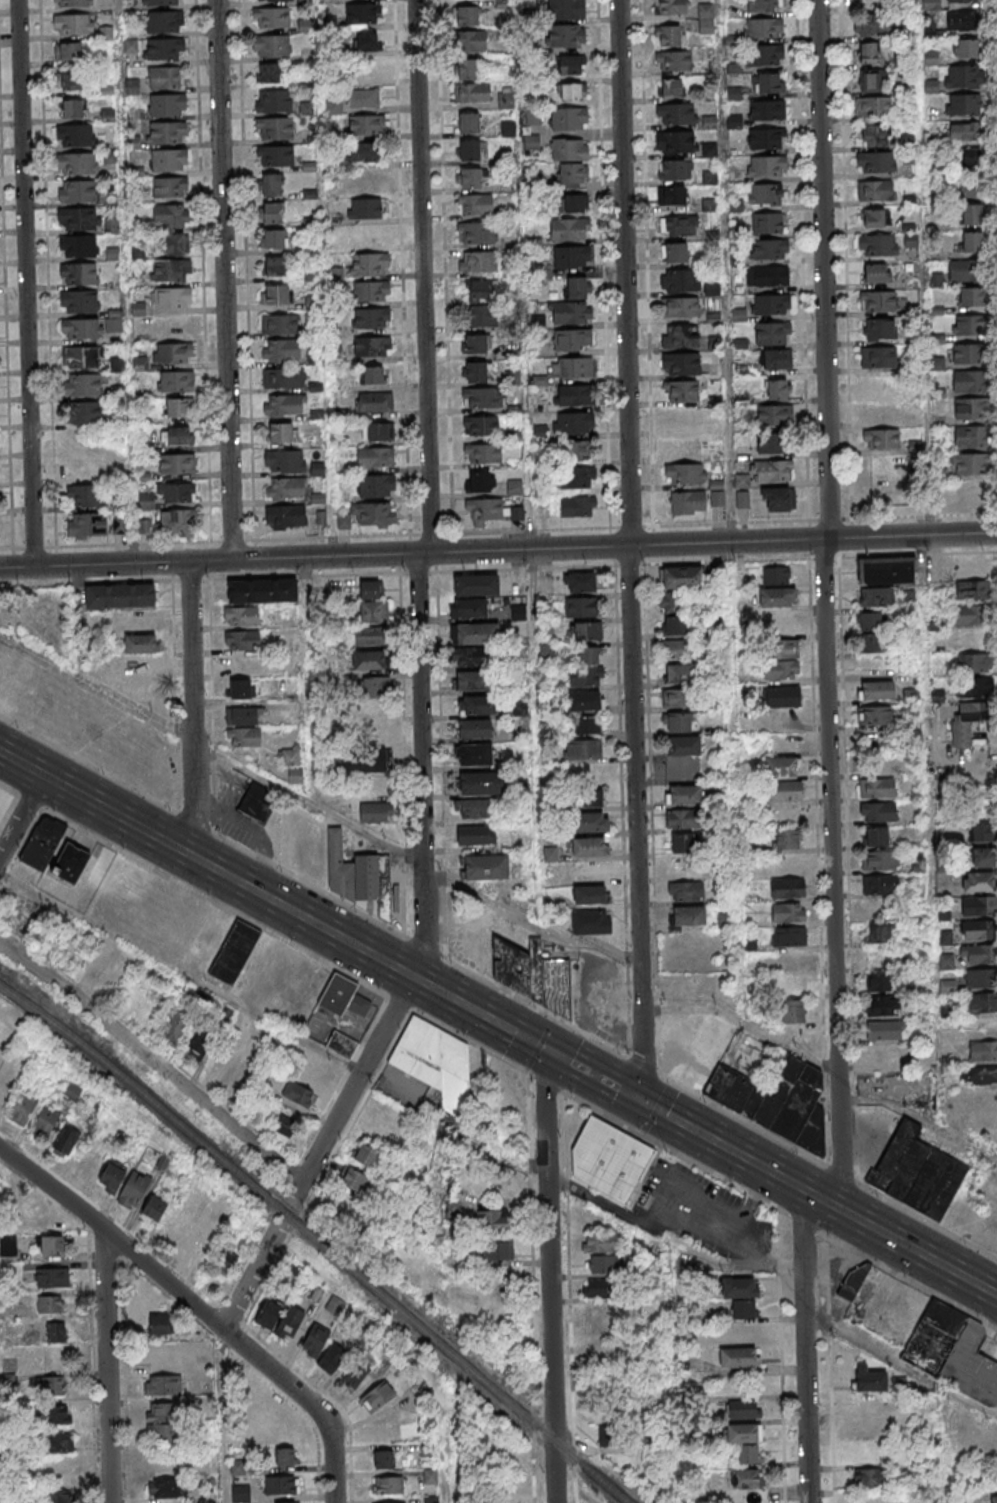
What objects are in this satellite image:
building: (272, 0)
building: (961, 1)
building: (73, 3)
building: (163, 3)
building: (872, 3)
building: (763, 5)
building: (671, 7)
building: (566, 9)
road: (996, 9)
building: (360, 15)
building: (467, 15)
building: (271, 17)
building: (706, 18)
building: (73, 23)
building: (957, 23)
building: (165, 24)
building: (873, 25)
building: (763, 28)
building: (566, 35)
building: (670, 35)
building: (472, 40)
building: (366, 41)
building: (272, 45)
building: (966, 48)
building: (68, 51)
building: (166, 51)
building: (867, 53)
building: (764, 56)
building: (673, 60)
building: (568, 65)
building: (468, 69)
building: (268, 72)
building: (965, 76)
building: (166, 78)
building: (71, 80)
building: (871, 81)
building: (766, 84)
building: (131, 87)
building: (670, 87)
building: (572, 90)
building: (472, 92)
building: (363, 99)
building: (505, 99)
building: (273, 100)
building: (962, 103)
building: (333, 106)
building: (168, 107)
building: (874, 107)
building: (72, 108)
building: (767, 110)
building: (677, 113)
building: (133, 116)
building: (568, 118)
building: (734, 121)
building: (469, 122)
building: (366, 126)
building: (274, 128)
building: (962, 132)
building: (168, 135)
building: (872, 135)
building: (75, 136)
building: (766, 138)
building: (675, 141)
building: (133, 143)
building: (569, 149)
building: (469, 150)
building: (365, 153)
building: (275, 155)
building: (969, 156)
building: (875, 161)
building: (170, 162)
building: (77, 164)
building: (766, 166)
building: (674, 169)
building: (572, 173)
building: (469, 178)
building: (369, 180)
building: (271, 184)
building: (974, 186)
building: (170, 190)
building: (874, 190)
building: (77, 192)
building: (767, 194)
building: (671, 195)
building: (573, 203)
building: (475, 204)
building: (736, 205)
building: (365, 208)
building: (272, 212)
building: (973, 215)
building: (170, 216)
building: (78, 218)
building: (874, 218)
building: (766, 223)
building: (679, 225)
building: (570, 229)
building: (477, 232)
building: (370, 236)
building: (274, 238)
building: (910, 241)
building: (972, 243)
building: (175, 244)
building: (877, 245)
building: (78, 246)
building: (336, 247)
building: (309, 249)
building: (768, 249)
building: (675, 252)
building: (571, 258)
road: (846, 260)
building: (478, 261)
road: (647, 263)
building: (369, 265)
building: (275, 266)
road: (445, 267)
road: (725, 271)
building: (964, 271)
building: (78, 273)
building: (172, 273)
building: (877, 273)
building: (311, 274)
road: (425, 276)
building: (767, 277)
road: (327, 278)
road: (226, 280)
building: (681, 280)
road: (127, 282)
road: (28, 283)
road: (605, 286)
building: (576, 288)
road: (404, 289)
building: (478, 290)
building: (371, 292)
building: (277, 294)
building: (971, 297)
building: (311, 300)
building: (80, 301)
building: (172, 301)
building: (878, 301)
building: (771, 305)
building: (681, 307)
building: (571, 313)
building: (482, 316)
building: (371, 318)
building: (114, 320)
building: (279, 323)
building: (969, 325)
building: (82, 328)
building: (879, 329)
building: (773, 334)
road: (7, 337)
building: (681, 338)
building: (572, 340)
building: (475, 344)
building: (372, 347)
building: (281, 349)
road: (51, 351)
building: (173, 353)
building: (968, 353)
road: (805, 354)
building: (81, 356)
building: (879, 357)
building: (776, 358)
building: (117, 364)
building: (140, 364)
building: (681, 365)
building: (575, 367)
building: (476, 373)
building: (372, 374)
building: (284, 377)
building: (970, 381)
building: (177, 382)
building: (84, 384)
building: (880, 384)
building: (777, 389)
building: (681, 391)
building: (576, 395)
building: (483, 397)
building: (375, 402)
building: (285, 404)
building: (179, 407)
building: (971, 408)
building: (85, 412)
building: (774, 415)
building: (681, 419)
building: (575, 423)
building: (480, 425)
building: (377, 431)
building: (282, 432)
building: (177, 435)
building: (971, 437)
building: (880, 438)
building: (771, 444)
building: (683, 447)
building: (577, 450)
building: (483, 452)
building: (375, 458)
building: (285, 461)
building: (177, 463)
building: (969, 465)
building: (882, 467)
building: (772, 471)
building: (685, 475)
building: (575, 477)
building: (480, 481)
building: (742, 481)
building: (376, 487)
building: (514, 487)
building: (286, 488)
building: (177, 493)
building: (86, 495)
building: (716, 499)
building: (742, 500)
building: (778, 500)
building: (146, 501)
building: (687, 503)
building: (578, 506)
building: (484, 509)
building: (517, 512)
building: (286, 516)
building: (368, 516)
building: (177, 522)
building: (120, 523)
building: (87, 524)
road: (732, 524)
road: (532, 532)
road: (233, 542)
road: (7, 549)
road: (498, 550)
road: (628, 551)
building: (885, 569)
building: (775, 575)
building: (682, 578)
building: (581, 582)
building: (477, 585)
building: (262, 591)
building: (972, 591)
building: (120, 595)
building: (776, 597)
building: (876, 597)
building: (372, 602)
building: (672, 602)
building: (581, 607)
building: (468, 608)
building: (242, 615)
building: (969, 615)
building: (135, 621)
building: (870, 621)
building: (674, 625)
building: (585, 631)
building: (475, 633)
building: (370, 635)
building: (242, 640)
building: (140, 643)
building: (872, 643)
building: (678, 649)
building: (782, 649)
building: (589, 655)
building: (473, 656)
building: (369, 660)
building: (974, 663)
building: (100, 666)
building: (135, 669)
building: (780, 669)
building: (683, 673)
building: (586, 677)
building: (471, 680)
building: (374, 687)
building: (973, 688)
building: (239, 689)
building: (875, 690)
building: (910, 696)
building: (782, 697)
building: (679, 698)
building: (586, 701)
building: (476, 704)
road: (192, 710)
building: (293, 712)
building: (243, 715)
building: (874, 715)
building: (677, 721)
building: (967, 722)
building: (587, 726)
building: (474, 728)
building: (375, 731)
building: (244, 737)
road: (538, 739)
building: (683, 745)
building: (583, 749)
road: (210, 751)
building: (473, 753)
building: (289, 756)
road: (830, 758)
building: (365, 760)
building: (782, 766)
building: (479, 782)
road: (8, 787)
building: (875, 787)
building: (785, 791)
building: (684, 795)
building: (593, 797)
road: (30, 800)
building: (255, 803)
building: (472, 808)
building: (375, 812)
building: (877, 812)
road: (21, 816)
building: (684, 818)
building: (592, 821)
building: (982, 832)
building: (475, 834)
building: (874, 836)
building: (785, 839)
building: (682, 842)
building: (43, 843)
building: (588, 846)
building: (982, 857)
building: (880, 860)
building: (71, 863)
building: (486, 866)
building: (685, 867)
building: (591, 871)
building: (365, 880)
building: (978, 881)
road: (313, 884)
building: (880, 884)
building: (787, 887)
building: (686, 891)
building: (589, 894)
road: (424, 896)
road: (271, 900)
road: (215, 902)
building: (979, 905)
building: (788, 912)
building: (689, 915)
road: (530, 921)
building: (591, 921)
building: (978, 930)
building: (877, 933)
building: (788, 936)
building: (235, 953)
building: (979, 955)
building: (789, 960)
building: (534, 976)
building: (981, 979)
building: (878, 982)
building: (793, 985)
building: (343, 998)
road: (399, 1002)
building: (980, 1004)
building: (883, 1006)
building: (793, 1020)
road: (744, 1022)
building: (174, 1028)
building: (885, 1029)
road: (469, 1040)
building: (201, 1043)
building: (342, 1044)
road: (539, 1044)
traffic signals: (543, 1049)
building: (982, 1050)
building: (884, 1055)
road: (154, 1061)
road: (565, 1061)
building: (435, 1063)
road: (649, 1067)
building: (978, 1075)
road: (594, 1076)
building: (744, 1080)
road: (544, 1082)
road: (622, 1091)
building: (71, 1093)
building: (298, 1095)
building: (984, 1100)
traffic signals: (644, 1103)
road: (656, 1107)
building: (21, 1109)
road: (357, 1111)
road: (920, 1118)
building: (45, 1123)
building: (65, 1142)
road: (676, 1152)
building: (366, 1156)
building: (610, 1162)
road: (833, 1169)
building: (917, 1172)
building: (112, 1177)
building: (353, 1181)
building: (135, 1188)
road: (820, 1200)
building: (154, 1210)
building: (492, 1220)
road: (804, 1223)
building: (178, 1225)
railway: (317, 1240)
building: (600, 1243)
building: (51, 1245)
building: (199, 1248)
building: (497, 1250)
building: (606, 1264)
building: (224, 1265)
road: (251, 1275)
road: (549, 1275)
building: (52, 1277)
road: (909, 1279)
building: (855, 1280)
road: (167, 1284)
building: (597, 1288)
building: (741, 1296)
road: (568, 1297)
road: (210, 1301)
building: (51, 1306)
building: (600, 1312)
road: (189, 1314)
building: (268, 1314)
building: (289, 1323)
building: (159, 1325)
building: (746, 1332)
building: (54, 1333)
building: (315, 1340)
building: (952, 1352)
building: (740, 1357)
building: (332, 1358)
road: (105, 1366)
building: (355, 1375)
building: (870, 1379)
building: (53, 1385)
building: (163, 1385)
building: (377, 1396)
building: (871, 1405)
building: (744, 1408)
building: (162, 1412)
building: (55, 1414)
road: (223, 1416)
building: (870, 1428)
building: (743, 1432)
building: (162, 1433)
building: (605, 1435)
building: (59, 1443)
building: (749, 1453)
building: (285, 1456)
building: (383, 1459)
road: (332, 1464)
building: (430, 1476)
building: (870, 1477)
building: (745, 1478)
building: (388, 1484)
building: (281, 1485)
building: (165, 1488)
building: (57, 1498)
building: (993, 1499)

